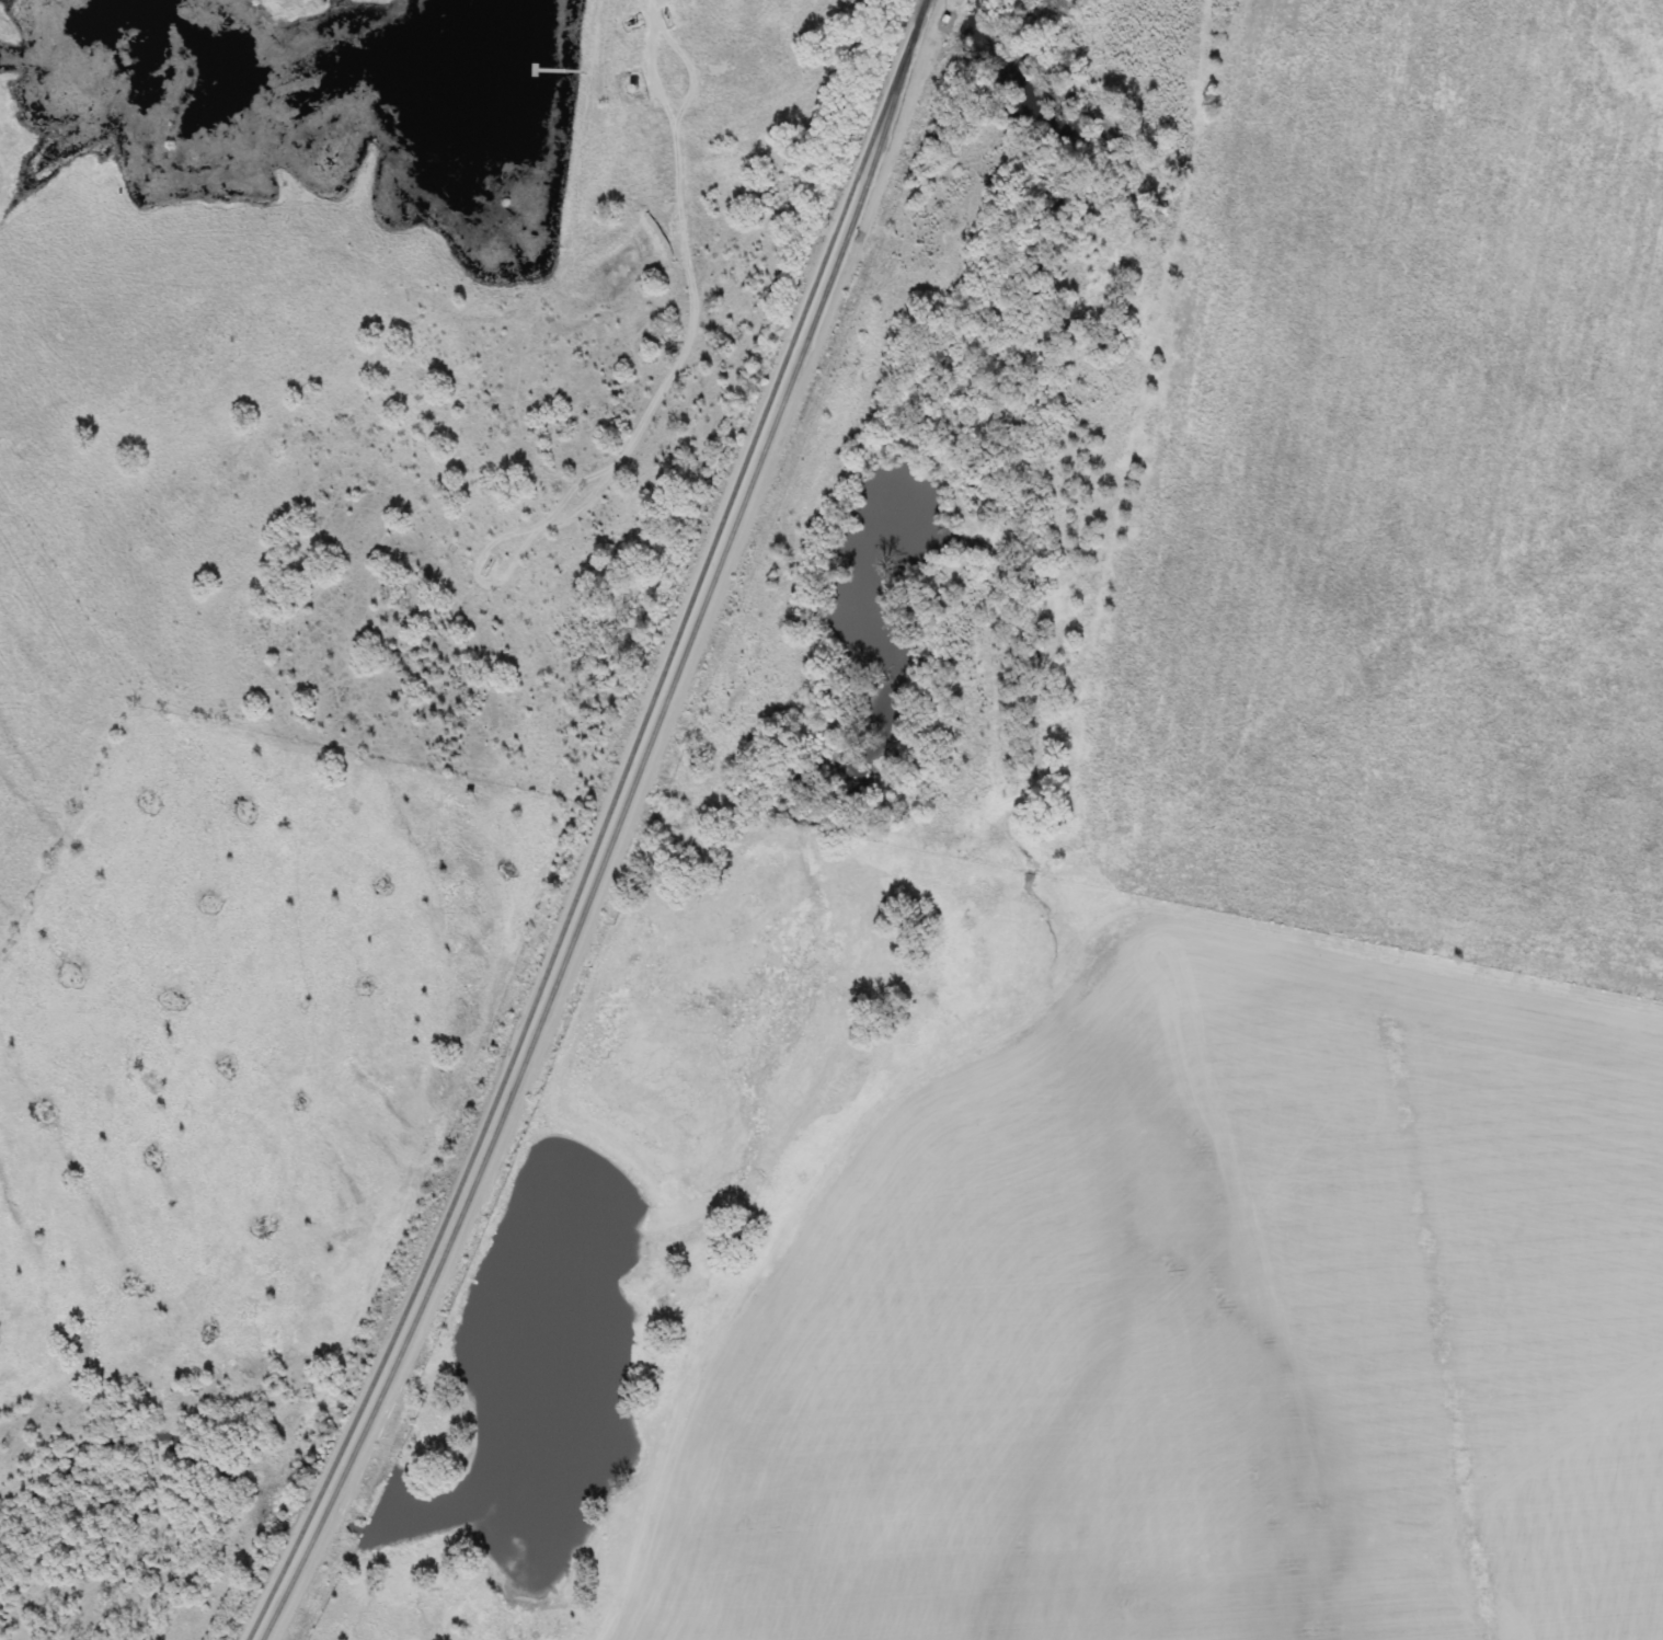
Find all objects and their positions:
road: (651, 46)
railway: (601, 827)

